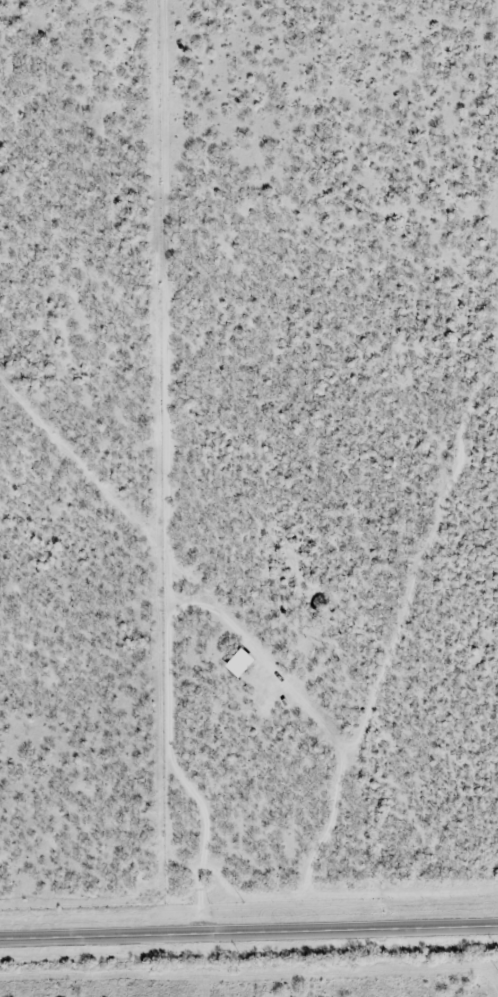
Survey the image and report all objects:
road: (249, 931)

